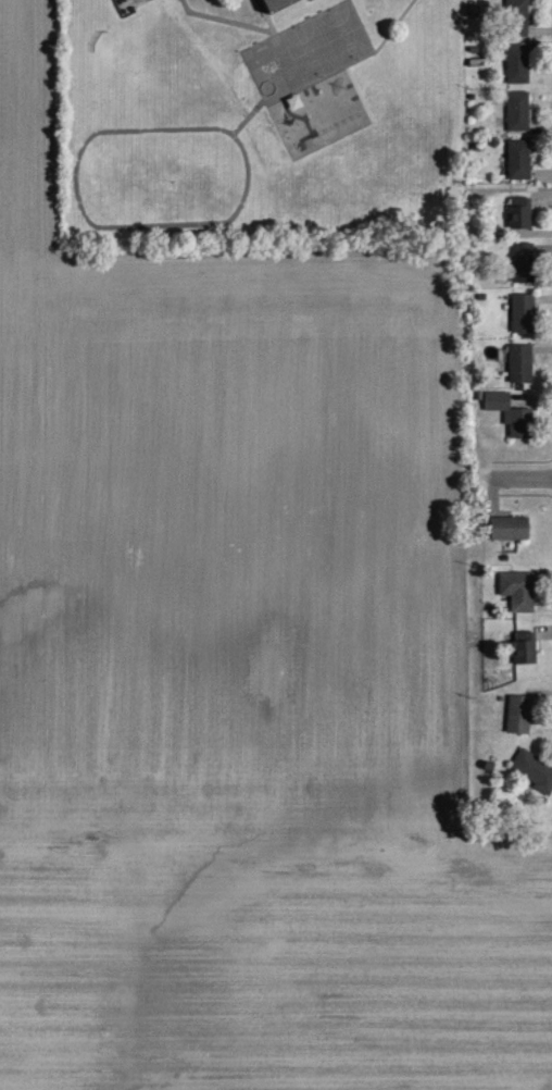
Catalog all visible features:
building: (275, 5)
building: (515, 17)
park: (326, 40)
building: (516, 62)
building: (517, 110)
building: (518, 159)
building: (520, 211)
building: (523, 262)
building: (523, 313)
building: (520, 363)
building: (512, 413)
road: (522, 479)
building: (510, 527)
building: (517, 590)
building: (523, 648)
building: (518, 714)
building: (534, 770)

